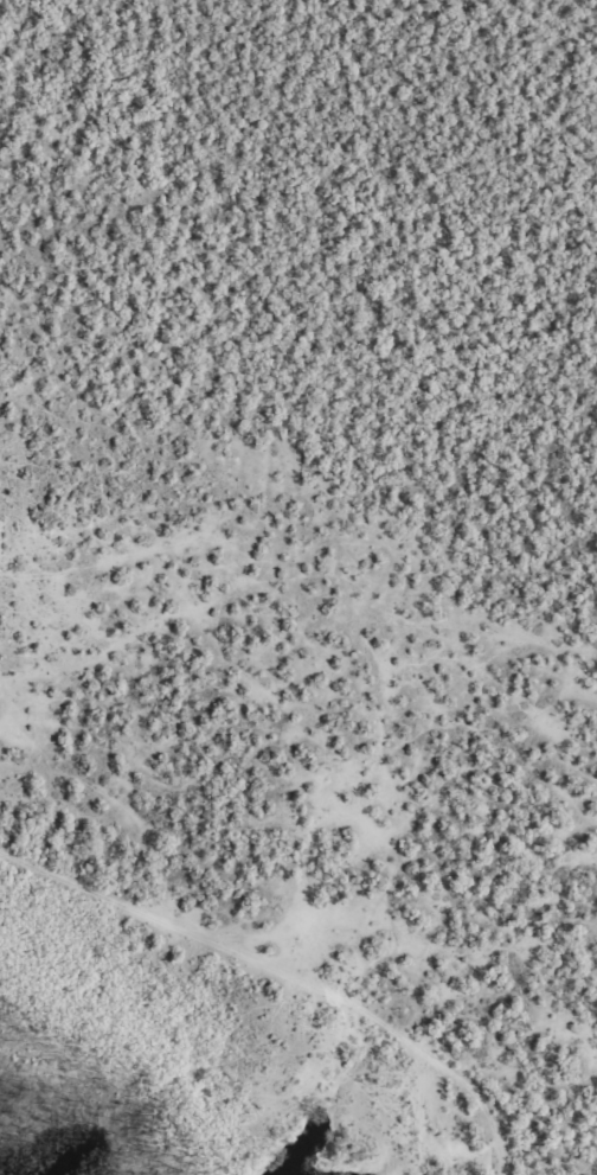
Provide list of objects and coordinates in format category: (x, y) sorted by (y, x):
road: (283, 975)

